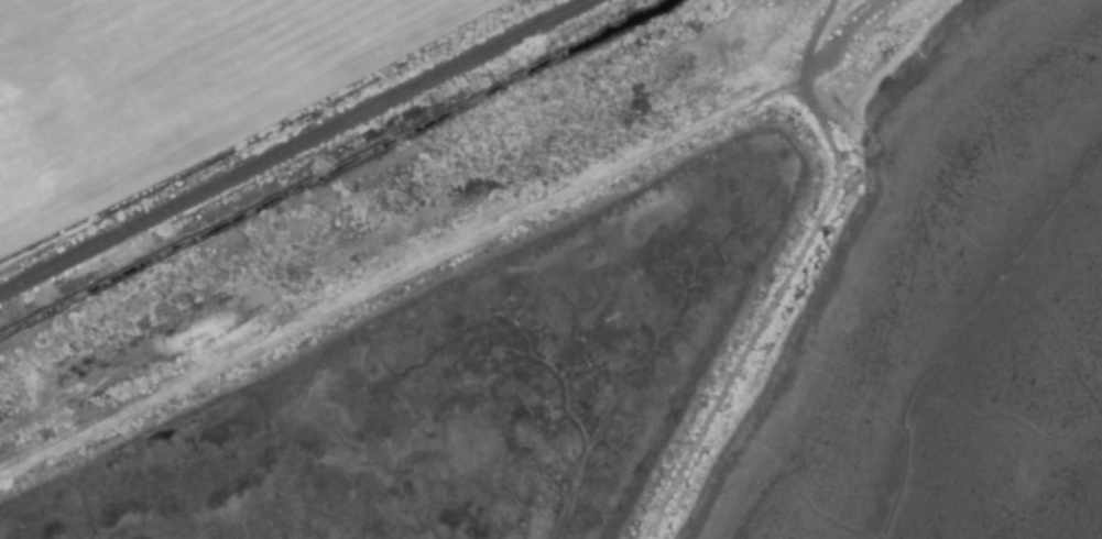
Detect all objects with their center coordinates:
road: (820, 23)
road: (851, 26)
railway: (295, 146)
road: (414, 272)
road: (768, 309)

